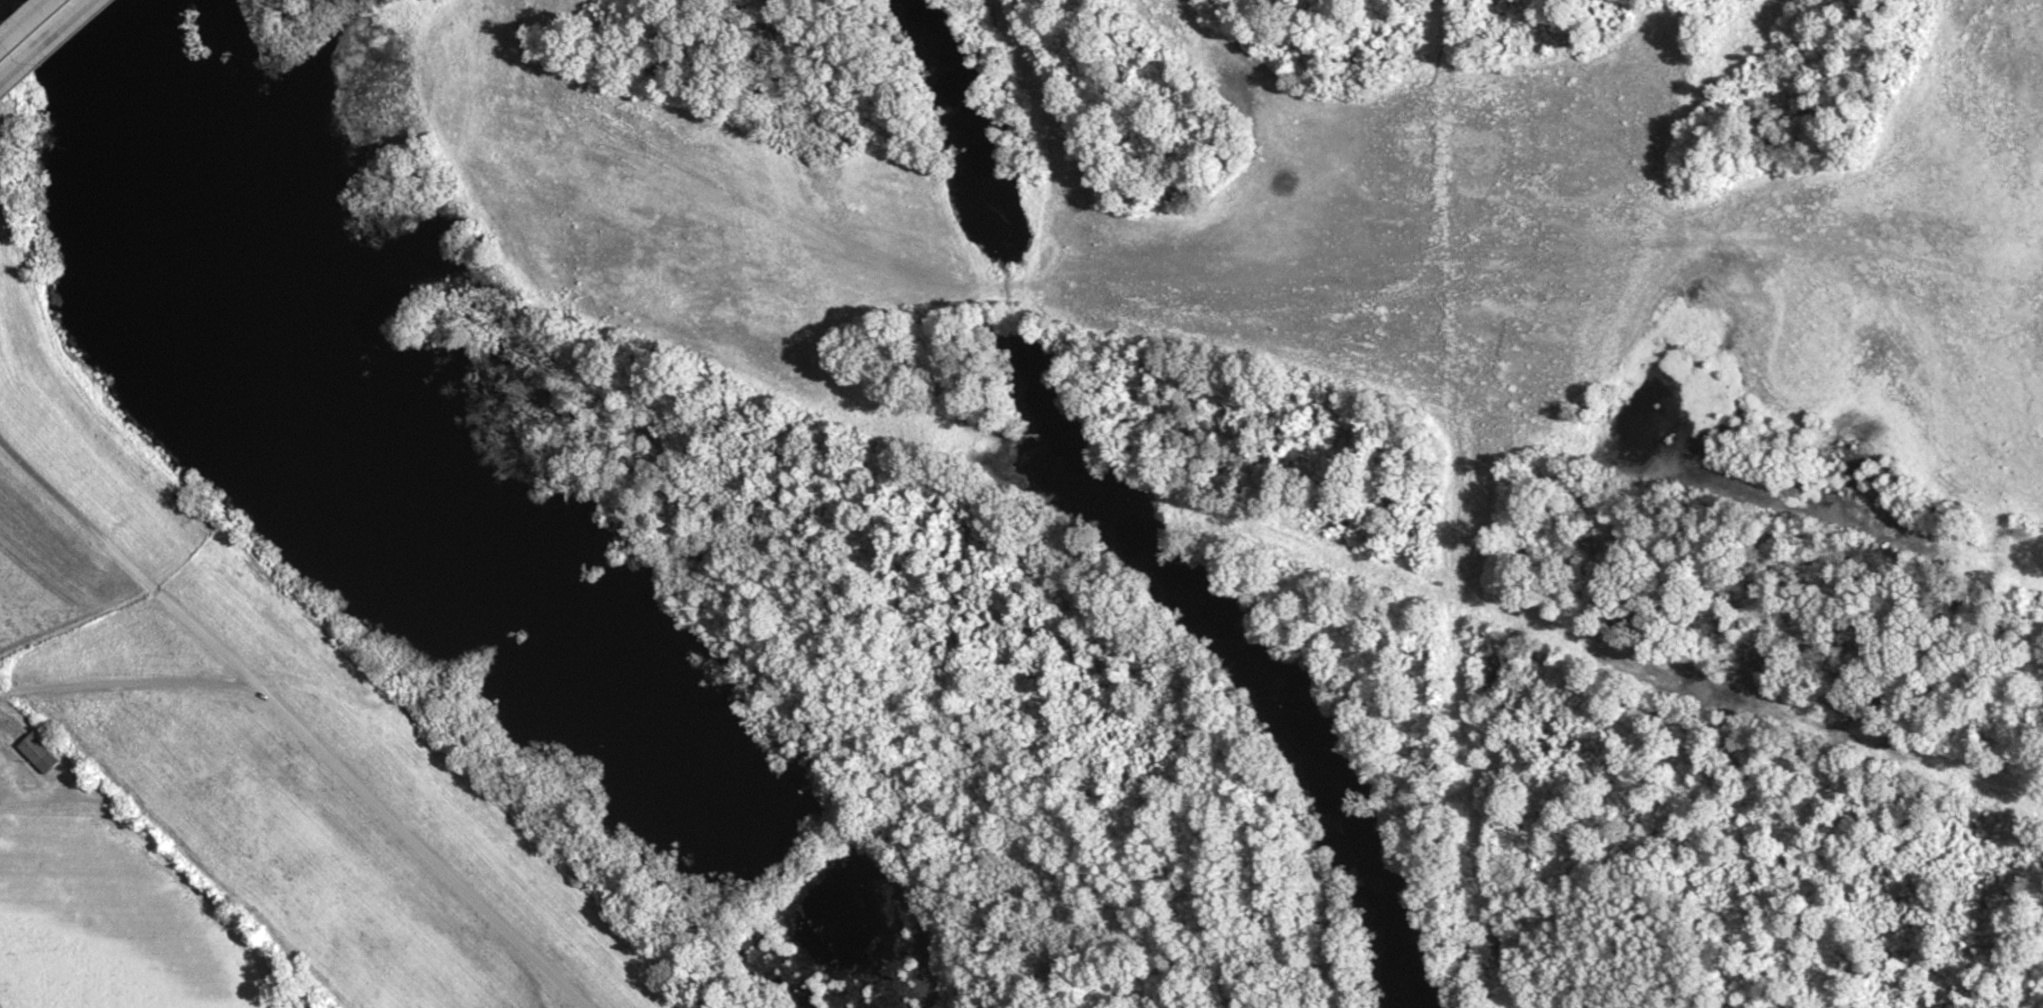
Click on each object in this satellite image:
road: (29, 25)
building: (40, 32)
road: (50, 43)
road: (126, 689)
road: (296, 723)
building: (36, 756)
road: (306, 839)

